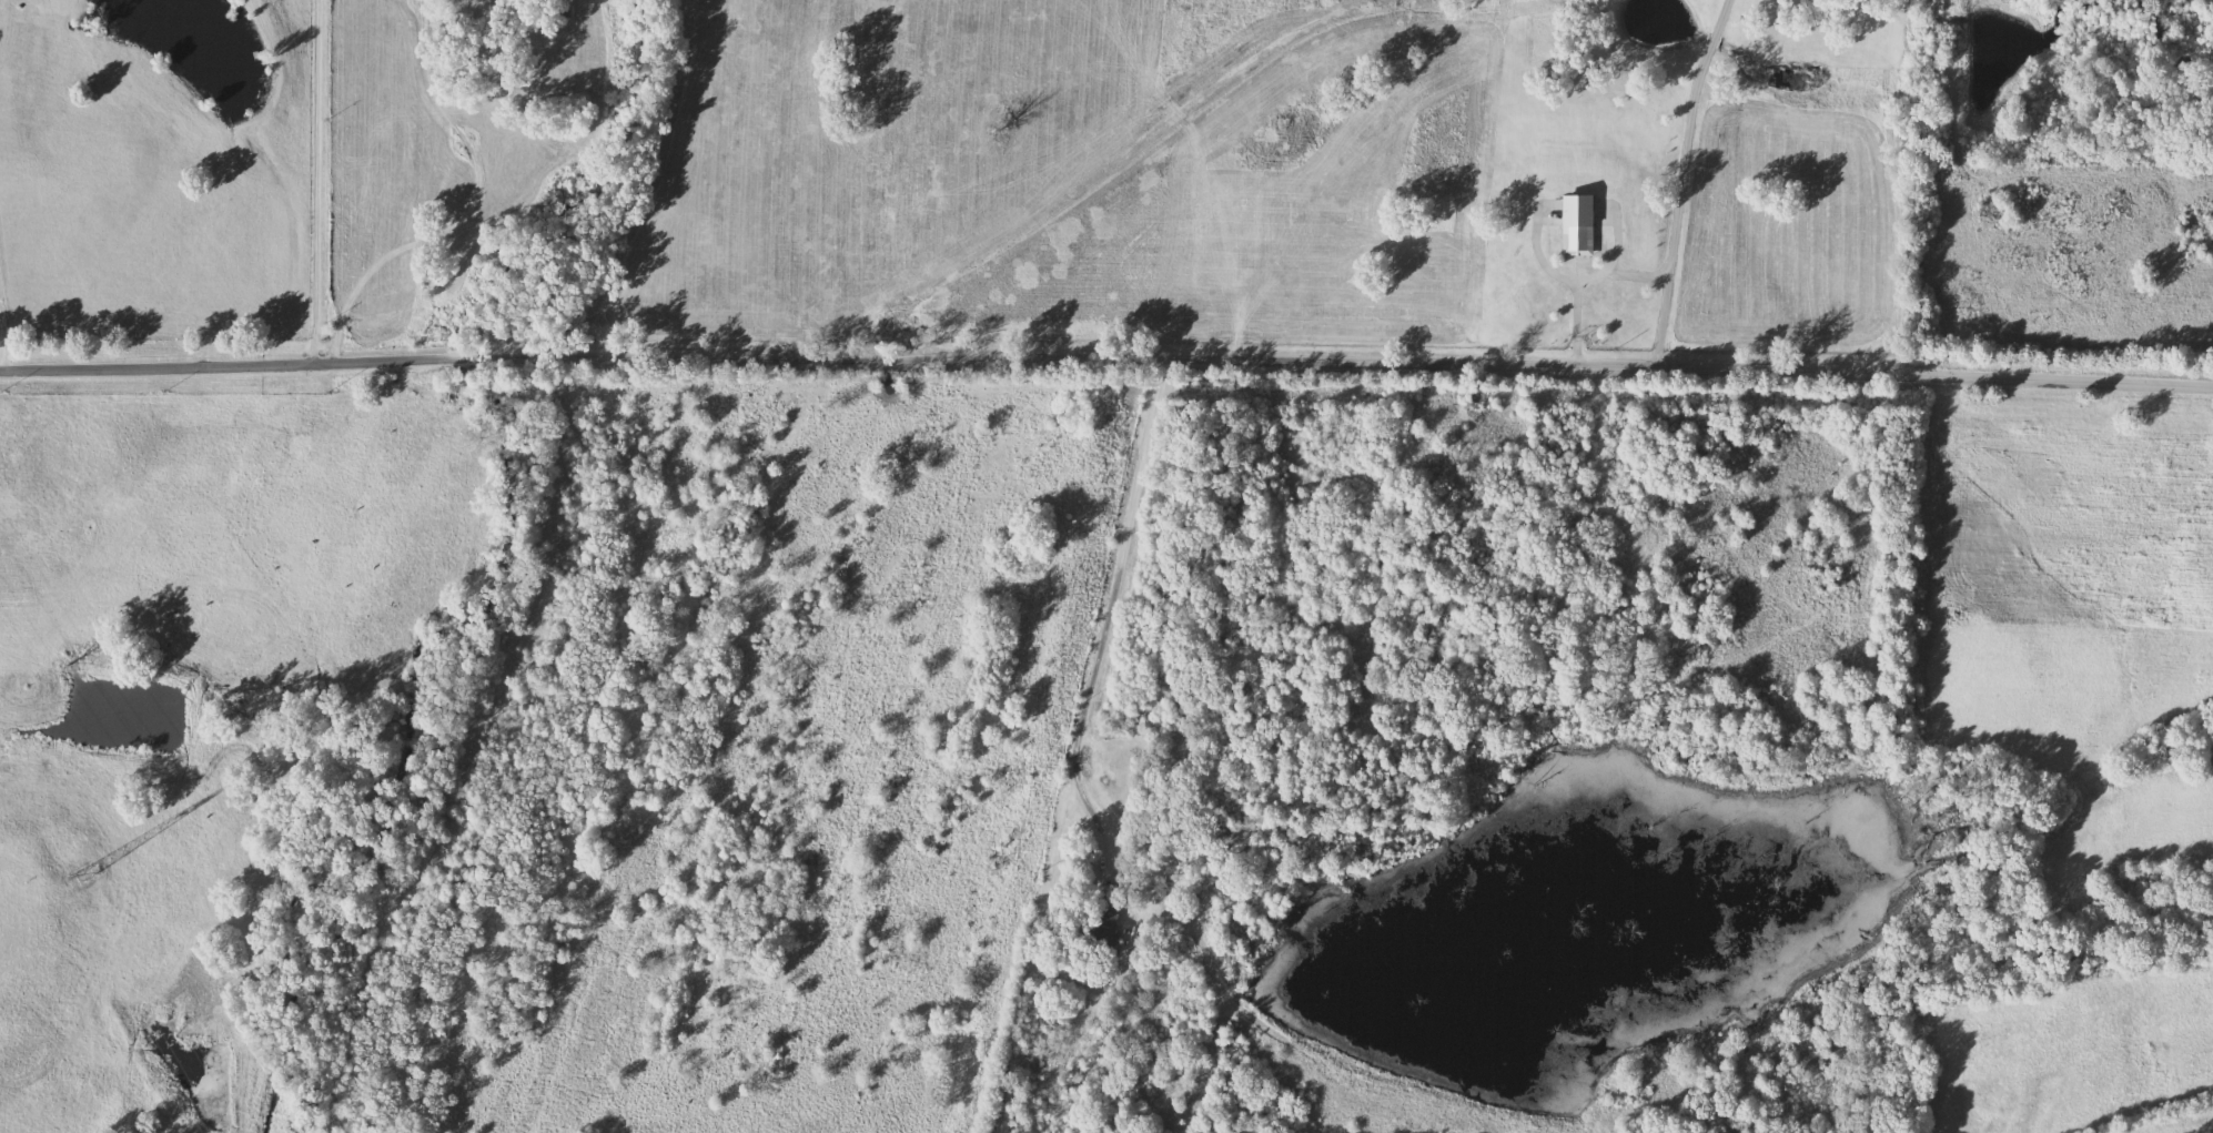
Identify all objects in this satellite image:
road: (1686, 142)
road: (315, 183)
road: (467, 209)
road: (1621, 277)
road: (124, 313)
road: (1106, 360)
road: (1103, 626)
power tower: (89, 870)
building: (1104, 927)

